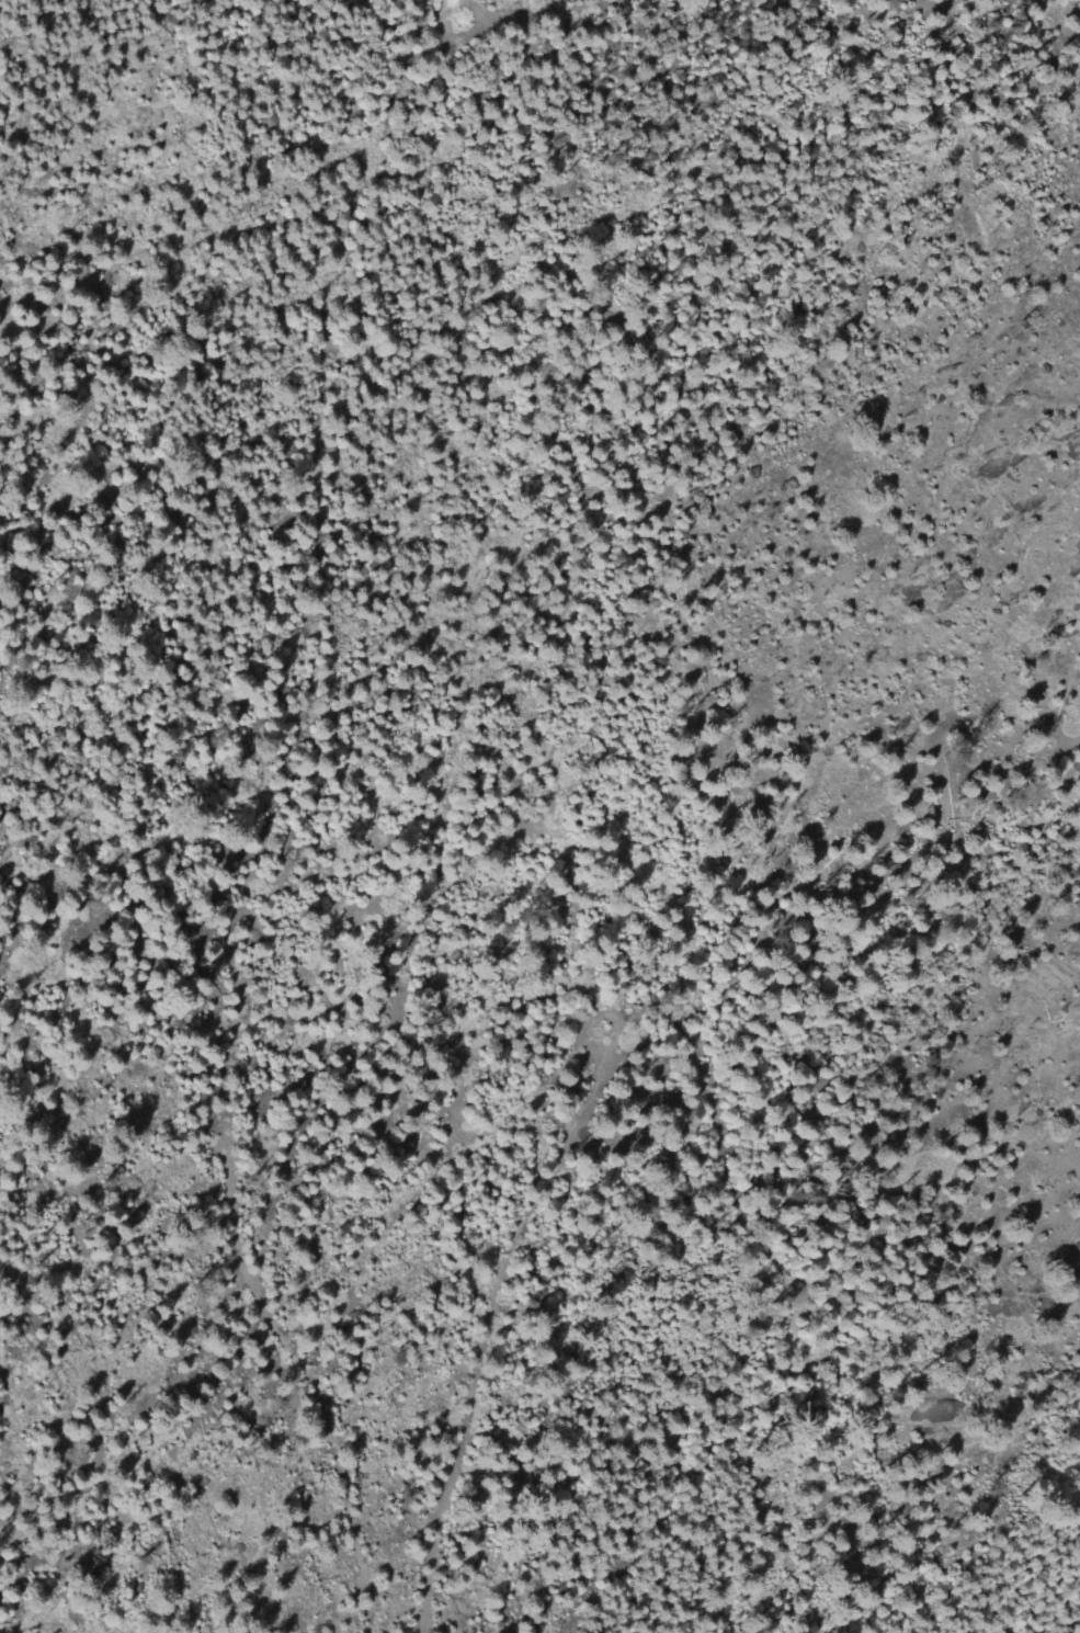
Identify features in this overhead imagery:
road: (370, 155)
road: (246, 1249)

